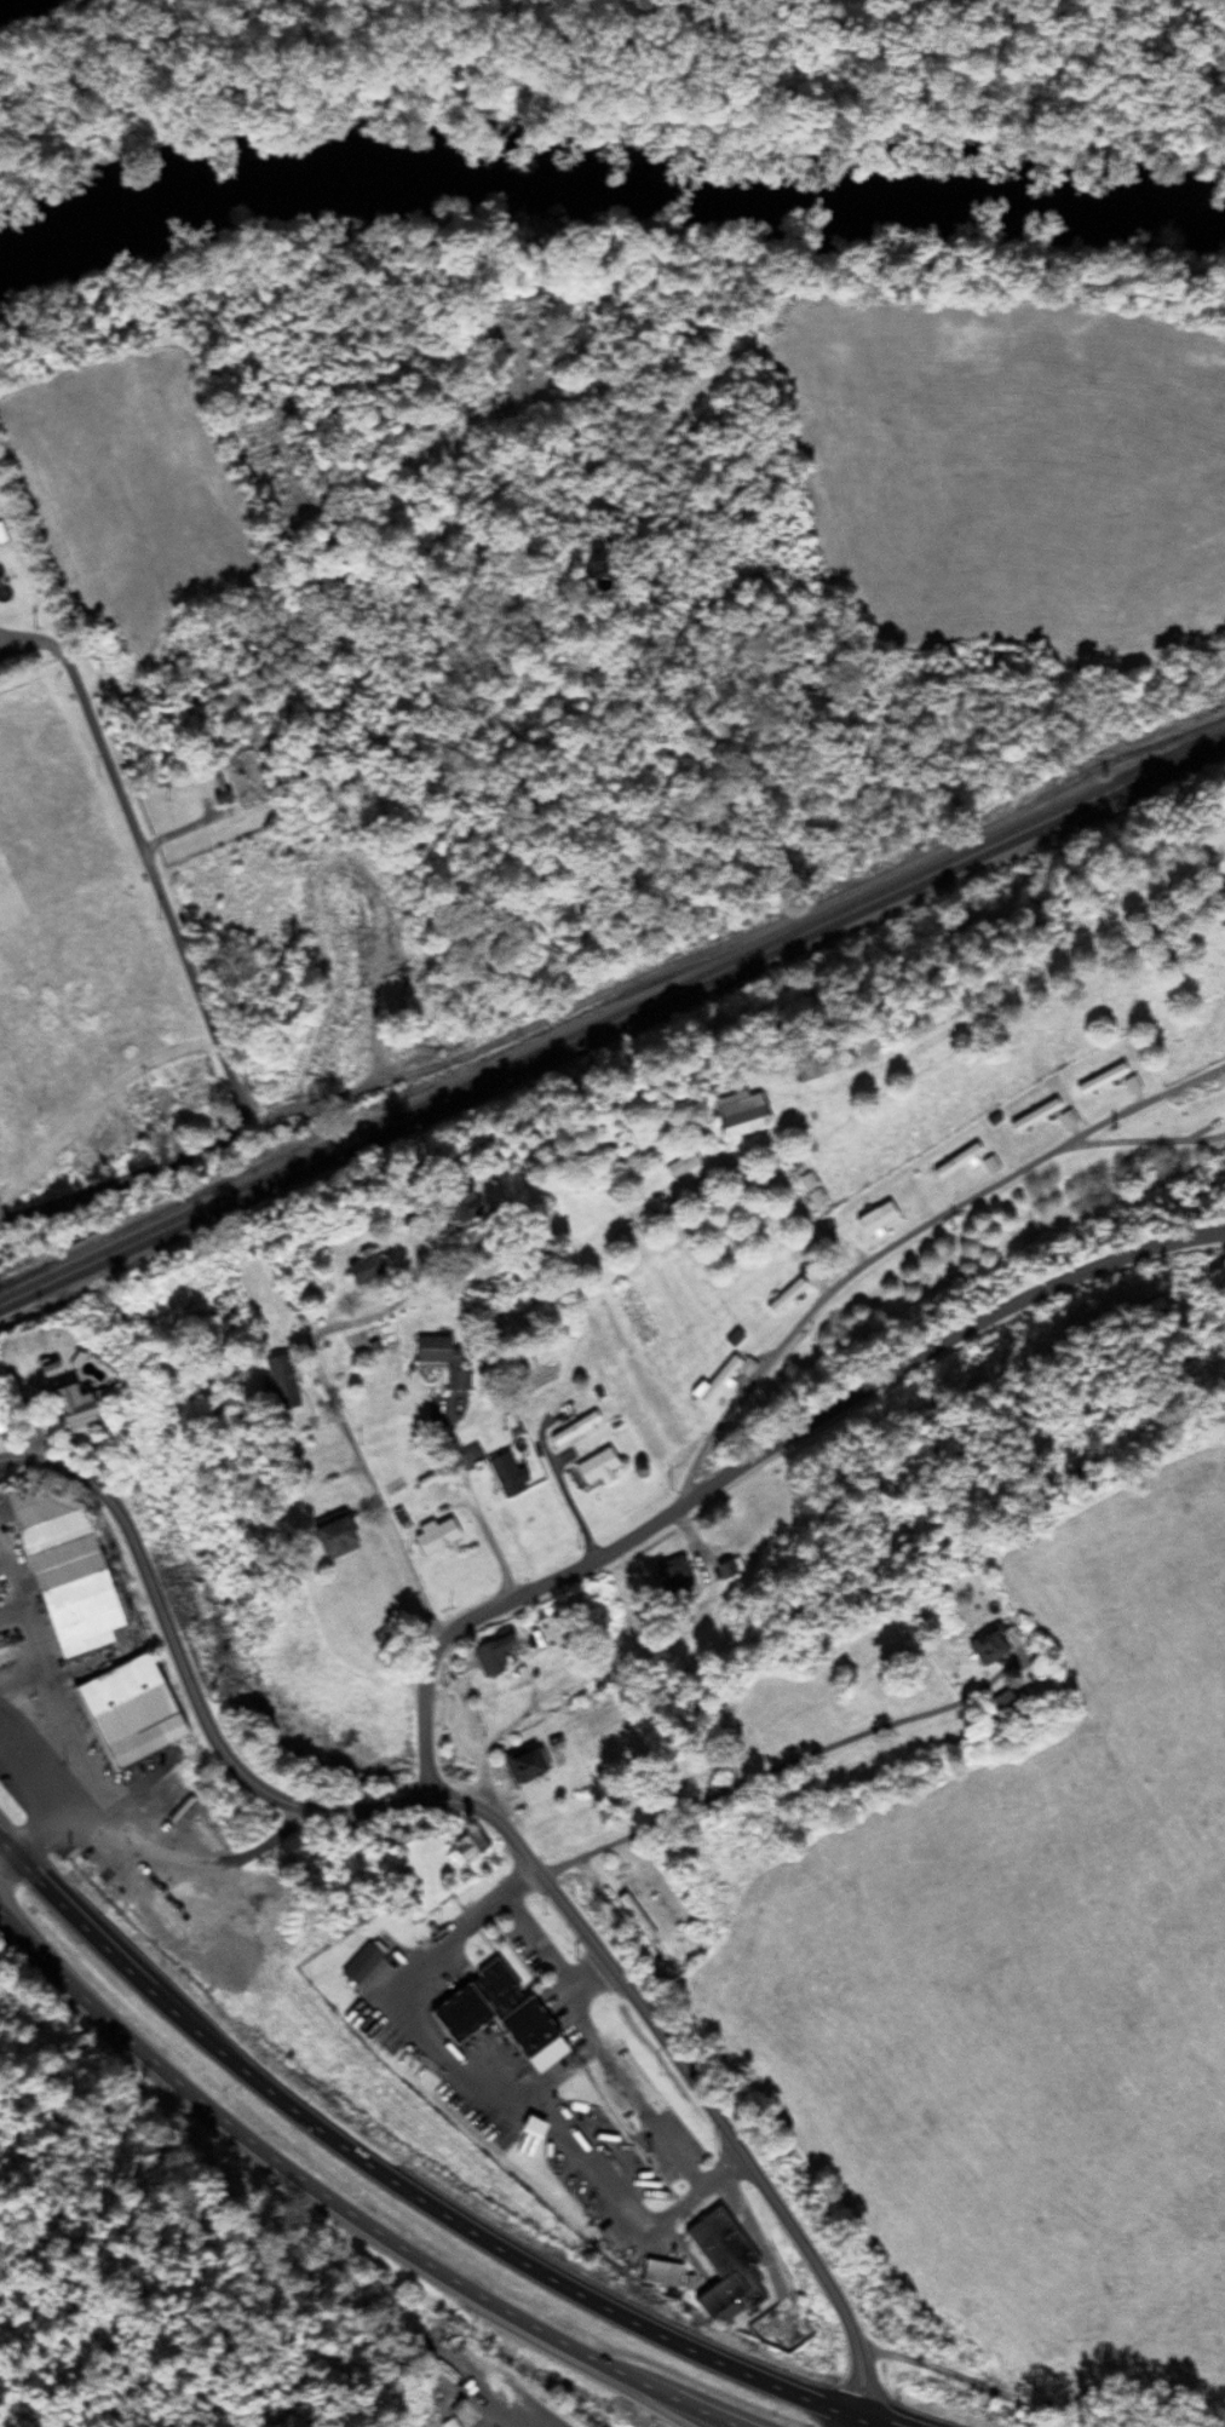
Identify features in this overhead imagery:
building: (1, 539)
railway: (1202, 736)
building: (218, 798)
road: (191, 976)
railway: (588, 1023)
building: (819, 1070)
building: (1098, 1080)
building: (732, 1115)
building: (1031, 1116)
building: (954, 1162)
building: (678, 1166)
building: (724, 1172)
building: (452, 1207)
building: (873, 1221)
road: (1221, 1231)
road: (904, 1236)
building: (358, 1269)
building: (494, 1289)
building: (783, 1298)
road: (574, 1310)
building: (438, 1361)
building: (275, 1384)
building: (712, 1384)
building: (63, 1409)
road: (340, 1417)
building: (570, 1430)
road: (754, 1455)
building: (593, 1470)
building: (504, 1476)
road: (478, 1517)
building: (432, 1537)
building: (326, 1540)
building: (59, 1574)
building: (672, 1577)
building: (987, 1641)
building: (489, 1655)
road: (16, 1680)
building: (994, 1708)
building: (123, 1712)
road: (491, 1743)
building: (522, 1764)
road: (780, 1766)
road: (501, 1823)
building: (461, 1850)
building: (632, 1916)
road: (458, 1931)
building: (357, 1963)
building: (471, 2001)
building: (522, 2028)
building: (528, 2128)
road: (391, 2182)
road: (343, 2207)
building: (721, 2265)
building: (658, 2273)
road: (479, 2383)
building: (445, 2423)
road: (853, 2423)
road: (865, 2423)

